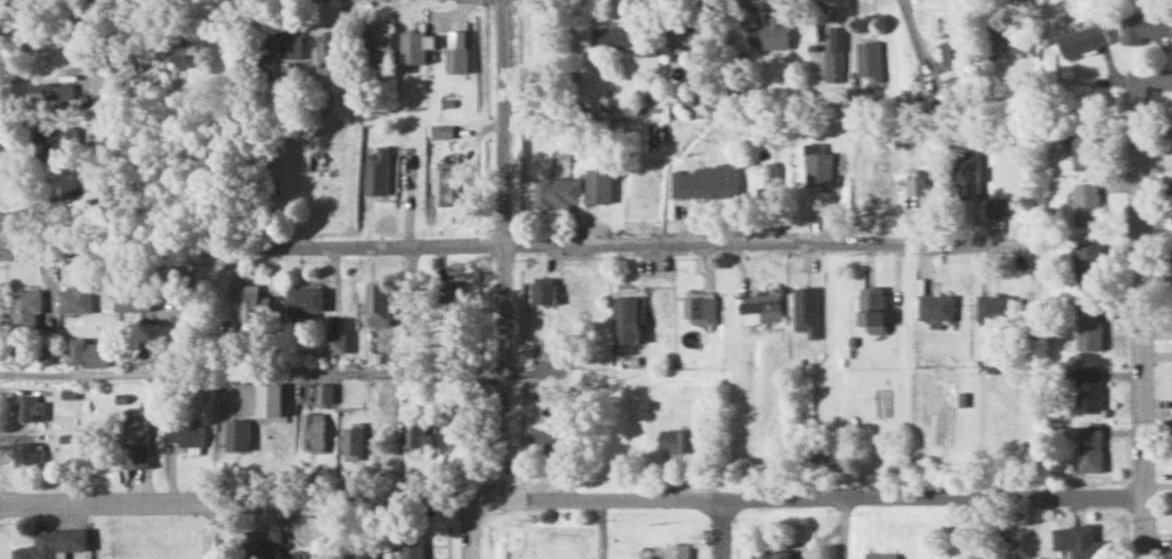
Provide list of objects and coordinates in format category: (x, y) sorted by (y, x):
building: (1145, 27)
building: (678, 35)
building: (769, 35)
building: (375, 38)
building: (608, 38)
building: (1019, 39)
building: (1086, 40)
building: (285, 41)
building: (411, 45)
building: (324, 46)
building: (643, 46)
building: (189, 50)
building: (952, 53)
building: (834, 55)
building: (454, 58)
building: (867, 58)
building: (263, 67)
road: (1155, 78)
building: (53, 91)
building: (855, 97)
building: (56, 137)
building: (1085, 144)
building: (817, 165)
building: (376, 170)
building: (966, 173)
building: (928, 177)
building: (705, 181)
building: (772, 181)
building: (445, 182)
building: (597, 184)
building: (556, 190)
building: (1087, 204)
building: (996, 207)
road: (512, 244)
road: (502, 249)
building: (1087, 266)
building: (542, 289)
building: (449, 290)
building: (74, 297)
building: (132, 300)
building: (303, 301)
building: (252, 302)
building: (376, 302)
building: (759, 307)
building: (935, 307)
building: (994, 307)
building: (25, 308)
building: (872, 308)
building: (699, 309)
building: (807, 310)
building: (625, 318)
road: (1139, 319)
building: (1089, 327)
building: (331, 340)
building: (86, 352)
road: (351, 372)
building: (1088, 389)
building: (322, 392)
building: (27, 409)
building: (311, 430)
building: (184, 432)
building: (415, 432)
building: (237, 434)
building: (135, 437)
building: (548, 440)
building: (676, 440)
building: (351, 441)
building: (1089, 447)
building: (23, 454)
road: (570, 500)
road: (97, 529)
road: (221, 529)
road: (345, 529)
road: (467, 529)
road: (599, 529)
road: (721, 529)
building: (1079, 541)
building: (411, 542)
building: (51, 543)
building: (264, 546)
building: (677, 551)
building: (770, 554)
building: (881, 555)

